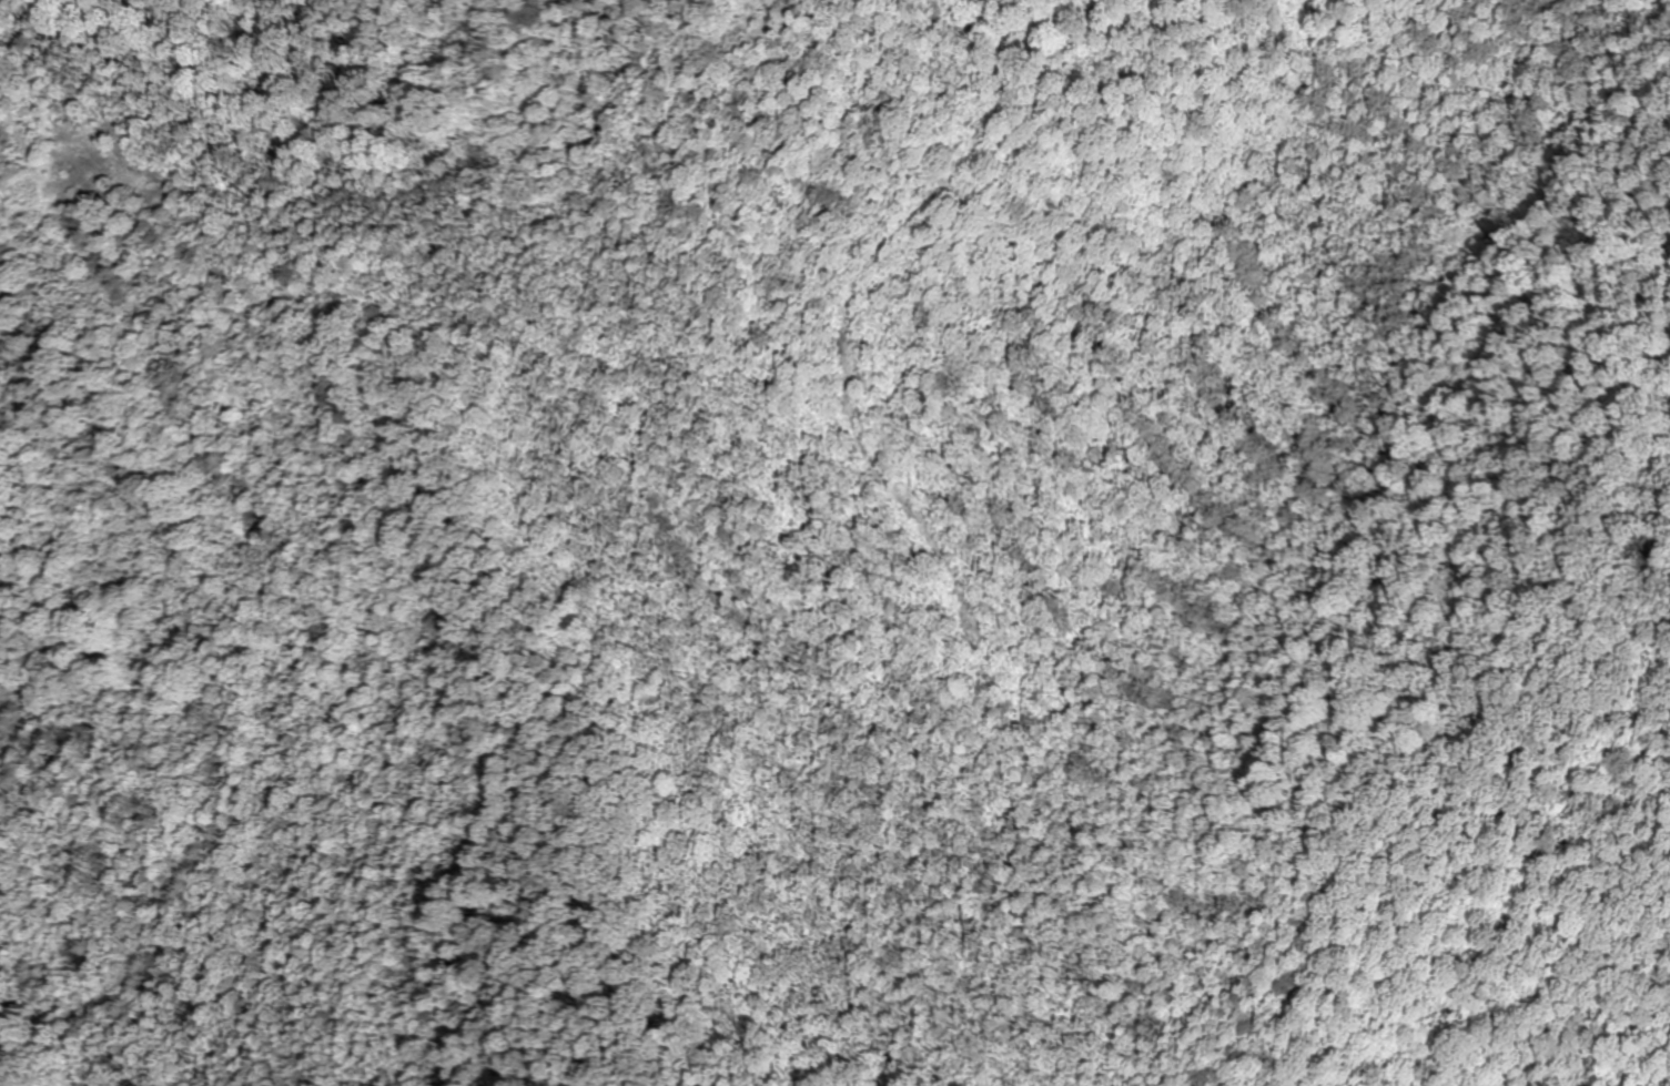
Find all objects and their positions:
road: (527, 514)

